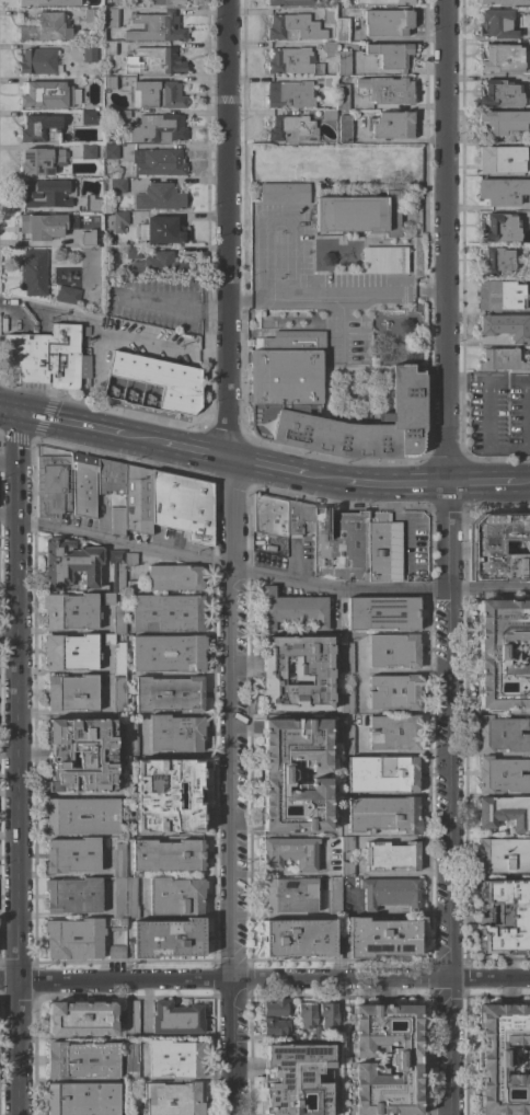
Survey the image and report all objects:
building: (117, 1)
building: (385, 1)
building: (47, 2)
building: (165, 2)
building: (291, 2)
building: (506, 2)
building: (332, 3)
building: (329, 14)
building: (91, 18)
building: (111, 18)
building: (388, 22)
building: (498, 23)
building: (44, 27)
building: (155, 27)
building: (293, 27)
building: (342, 30)
building: (110, 48)
building: (329, 48)
building: (88, 53)
building: (390, 55)
building: (502, 58)
building: (289, 60)
building: (38, 61)
building: (153, 61)
building: (344, 64)
building: (329, 81)
building: (110, 82)
building: (385, 90)
building: (529, 93)
building: (157, 94)
building: (290, 94)
building: (500, 94)
building: (48, 95)
building: (342, 96)
building: (124, 114)
building: (329, 115)
building: (88, 117)
building: (503, 120)
building: (392, 125)
building: (39, 128)
building: (157, 128)
building: (290, 129)
building: (344, 129)
building: (88, 151)
building: (110, 151)
building: (500, 159)
building: (41, 161)
building: (158, 162)
building: (117, 185)
building: (503, 191)
building: (46, 193)
building: (284, 194)
building: (159, 197)
building: (91, 204)
building: (356, 211)
building: (119, 221)
building: (42, 226)
building: (499, 228)
road: (228, 229)
building: (164, 230)
building: (83, 238)
road: (448, 242)
building: (136, 252)
building: (384, 261)
building: (496, 261)
building: (157, 265)
building: (33, 273)
road: (309, 294)
building: (68, 295)
building: (499, 295)
road: (174, 307)
road: (114, 324)
building: (506, 326)
building: (84, 330)
building: (48, 357)
building: (504, 360)
building: (161, 380)
power substation: (152, 383)
building: (286, 389)
road: (9, 412)
traffic signals: (18, 414)
road: (487, 414)
parking lot: (499, 414)
road: (529, 414)
road: (69, 424)
road: (140, 439)
road: (195, 450)
road: (267, 467)
road: (326, 479)
building: (111, 481)
building: (83, 484)
road: (397, 484)
road: (481, 484)
road: (521, 484)
building: (53, 485)
building: (137, 499)
building: (182, 505)
building: (268, 515)
road: (8, 516)
building: (298, 518)
building: (117, 520)
road: (449, 537)
road: (122, 542)
building: (339, 545)
building: (377, 547)
building: (498, 548)
building: (129, 559)
building: (69, 563)
building: (115, 575)
building: (173, 577)
building: (134, 586)
road: (489, 588)
road: (338, 589)
building: (292, 609)
building: (70, 611)
building: (382, 612)
building: (166, 613)
building: (118, 617)
building: (107, 639)
building: (393, 651)
building: (70, 652)
building: (503, 653)
building: (168, 654)
building: (346, 657)
building: (118, 658)
building: (296, 674)
building: (393, 692)
building: (71, 693)
building: (169, 694)
building: (117, 696)
building: (346, 699)
building: (394, 733)
building: (174, 734)
building: (500, 734)
building: (129, 739)
building: (346, 739)
building: (81, 755)
road: (15, 763)
building: (382, 773)
building: (502, 774)
building: (278, 775)
road: (449, 782)
road: (227, 785)
building: (168, 796)
building: (504, 812)
building: (383, 814)
building: (81, 816)
building: (346, 843)
building: (289, 852)
building: (71, 855)
building: (166, 855)
building: (391, 855)
building: (503, 855)
building: (117, 861)
building: (346, 869)
building: (390, 893)
building: (72, 895)
building: (288, 895)
building: (118, 897)
building: (174, 897)
building: (333, 897)
building: (130, 898)
building: (505, 917)
building: (116, 924)
building: (73, 938)
building: (166, 938)
building: (298, 938)
building: (381, 938)
building: (116, 952)
road: (273, 978)
road: (8, 979)
building: (276, 1007)
building: (307, 1014)
building: (327, 1015)
building: (131, 1018)
building: (176, 1018)
building: (80, 1019)
building: (274, 1026)
road: (450, 1046)
building: (175, 1058)
building: (503, 1058)
building: (81, 1060)
building: (131, 1060)
building: (403, 1060)
building: (298, 1079)
building: (82, 1099)
building: (173, 1099)

